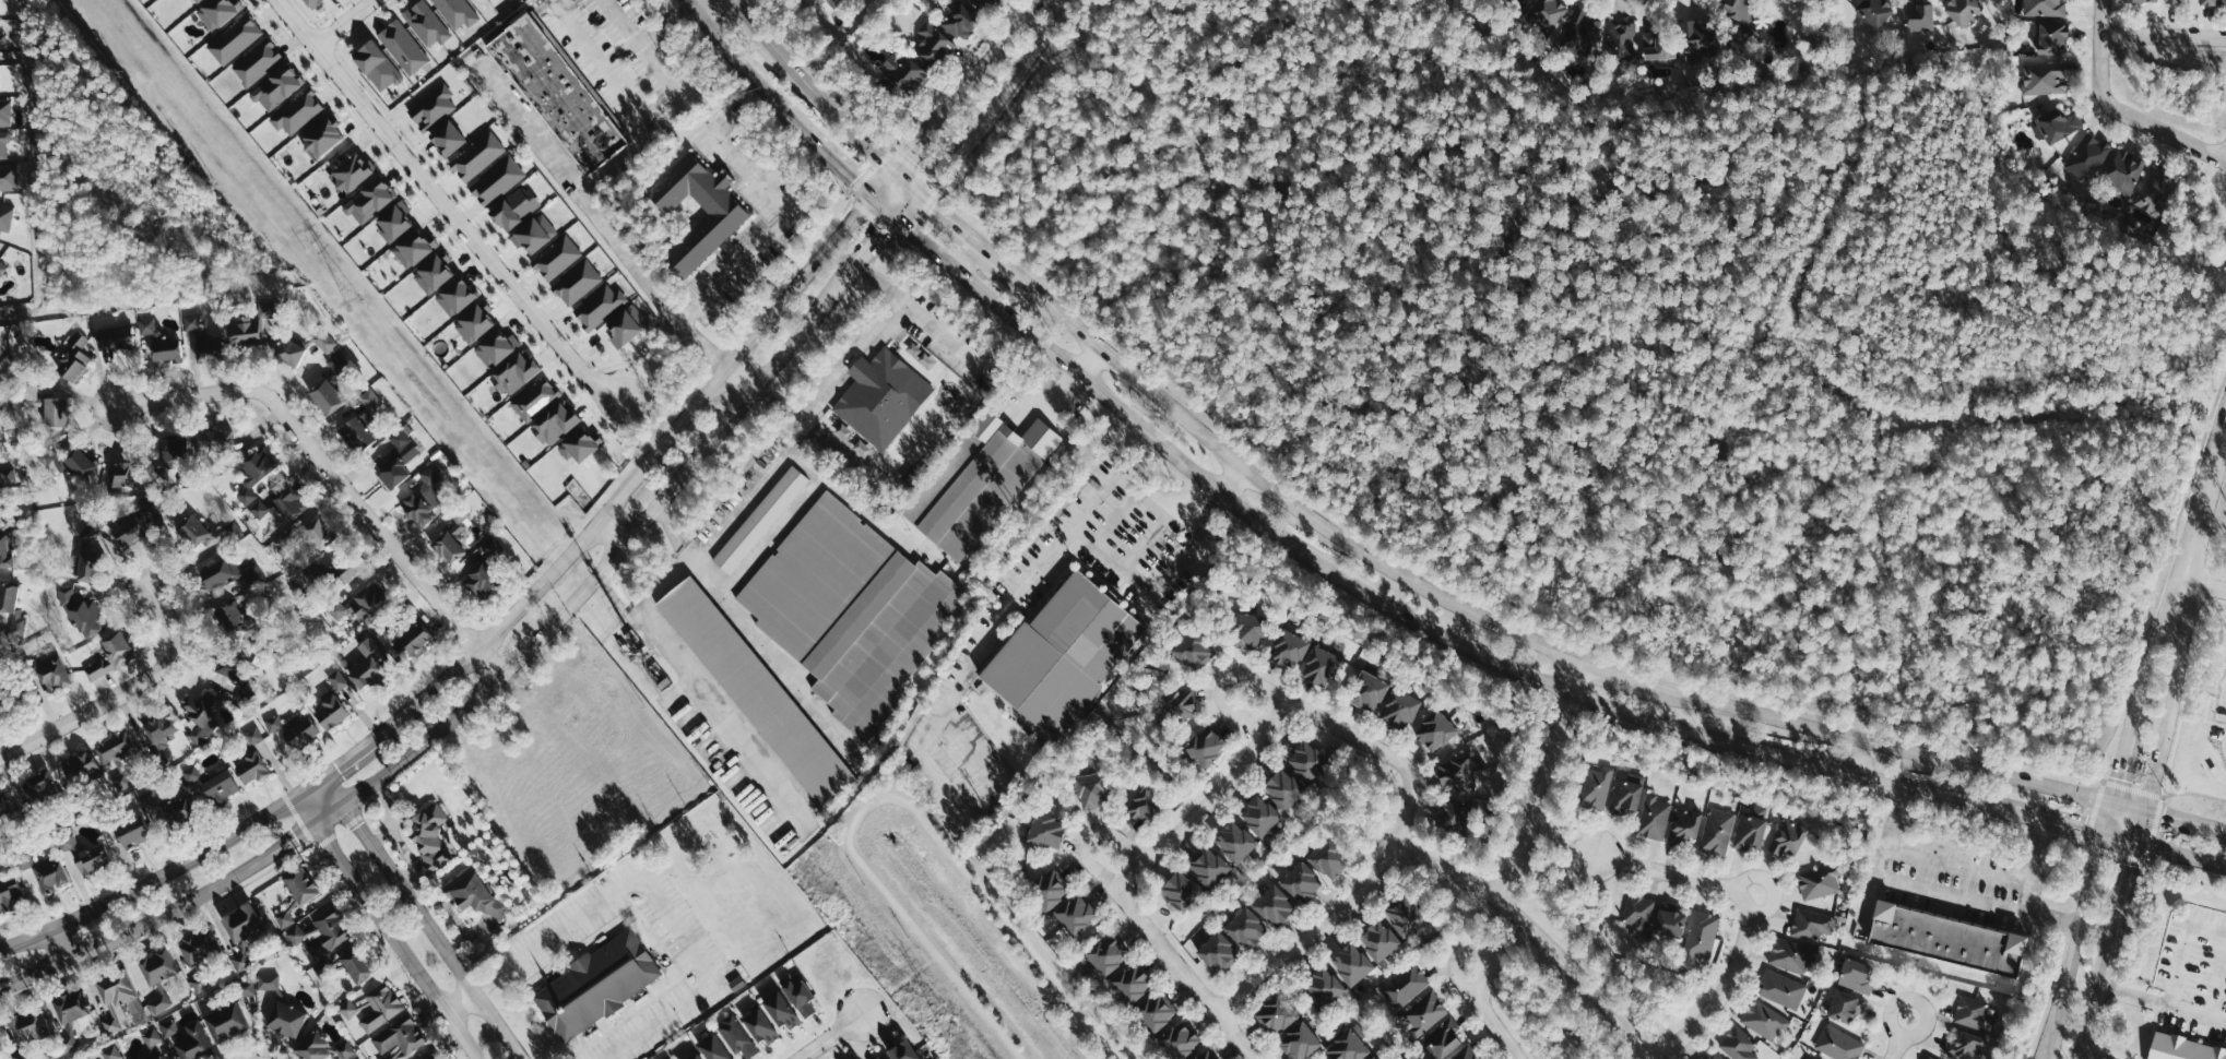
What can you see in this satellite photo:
building: (2142, 0)
building: (190, 1)
building: (2172, 1)
building: (310, 2)
road: (694, 2)
building: (832, 2)
building: (1518, 2)
building: (2207, 2)
building: (981, 4)
building: (2046, 8)
building: (0, 9)
building: (1739, 9)
building: (1963, 10)
building: (1875, 11)
building: (216, 12)
building: (457, 12)
building: (1549, 12)
building: (1918, 15)
building: (427, 22)
road: (624, 23)
road: (343, 24)
road: (666, 25)
building: (1582, 29)
road: (714, 33)
building: (3, 35)
building: (1701, 36)
road: (2164, 36)
building: (2051, 38)
building: (234, 39)
building: (1623, 39)
road: (1005, 41)
building: (932, 43)
building: (402, 46)
building: (1658, 48)
building: (257, 61)
parking lot: (621, 62)
building: (375, 66)
building: (902, 73)
building: (2045, 78)
building: (1, 81)
building: (276, 86)
road: (808, 87)
building: (559, 92)
road: (992, 98)
building: (433, 107)
road: (637, 108)
road: (2117, 110)
building: (297, 111)
building: (9, 112)
building: (2056, 124)
building: (321, 136)
building: (446, 138)
road: (919, 140)
road: (814, 143)
traffic signals: (912, 148)
building: (476, 156)
building: (2088, 157)
road: (2225, 157)
road: (619, 159)
road: (2225, 159)
building: (351, 171)
building: (2126, 171)
building: (11, 177)
traffic signals: (853, 177)
building: (497, 180)
building: (2156, 192)
building: (369, 199)
road: (443, 204)
road: (781, 205)
traffic signals: (931, 206)
building: (513, 207)
building: (729, 211)
building: (9, 216)
road: (595, 217)
building: (393, 219)
traffic signals: (878, 231)
building: (533, 234)
road: (972, 242)
road: (866, 245)
building: (413, 248)
parking lot: (749, 251)
building: (556, 258)
building: (4, 269)
building: (433, 271)
building: (577, 283)
building: (454, 296)
power tower: (353, 301)
building: (599, 306)
building: (473, 321)
building: (252, 323)
building: (625, 325)
road: (939, 331)
parking lot: (943, 335)
building: (116, 336)
building: (200, 340)
building: (325, 341)
building: (159, 343)
building: (495, 347)
building: (289, 352)
building: (72, 358)
road: (1090, 361)
building: (335, 362)
building: (514, 372)
road: (739, 374)
road: (831, 380)
building: (327, 395)
building: (880, 396)
road: (1052, 396)
building: (44, 401)
building: (369, 403)
building: (545, 410)
building: (56, 412)
building: (1, 425)
building: (356, 431)
building: (216, 440)
building: (580, 443)
building: (173, 450)
building: (398, 457)
building: (75, 461)
road: (641, 464)
building: (128, 468)
building: (254, 472)
building: (5, 476)
road: (2209, 476)
road: (333, 480)
road: (1231, 480)
building: (976, 481)
building: (424, 498)
building: (144, 502)
building: (281, 503)
road: (1303, 511)
building: (760, 519)
road: (1116, 519)
building: (130, 531)
building: (197, 531)
building: (230, 531)
road: (609, 531)
building: (304, 542)
building: (448, 545)
road: (1142, 545)
building: (5, 549)
building: (88, 555)
building: (332, 571)
building: (217, 574)
building: (252, 574)
building: (814, 574)
building: (343, 575)
building: (479, 579)
road: (1159, 582)
road: (2206, 584)
building: (358, 603)
road: (1381, 603)
building: (15, 608)
building: (85, 617)
road: (2163, 618)
building: (232, 619)
building: (1246, 630)
building: (411, 636)
building: (880, 642)
parking lot: (976, 650)
building: (1288, 650)
building: (1194, 651)
building: (111, 654)
building: (1064, 654)
road: (975, 655)
power tower: (643, 656)
building: (233, 666)
building: (367, 667)
building: (1319, 667)
building: (49, 671)
road: (1624, 675)
road: (2171, 676)
building: (338, 680)
road: (122, 690)
building: (754, 690)
building: (1367, 691)
building: (12, 694)
building: (1180, 705)
road: (1288, 706)
road: (463, 707)
building: (1399, 709)
building: (332, 711)
building: (200, 715)
building: (0, 719)
building: (273, 723)
building: (159, 725)
building: (1434, 730)
building: (300, 733)
building: (253, 736)
road: (1885, 745)
building: (115, 747)
building: (1204, 747)
road: (345, 760)
building: (1305, 761)
road: (2115, 764)
building: (82, 768)
building: (252, 768)
building: (191, 773)
building: (1455, 773)
traffic signals: (2112, 776)
road: (1538, 777)
building: (122, 782)
building: (221, 786)
building: (1597, 787)
building: (39, 788)
building: (1282, 788)
building: (1089, 790)
road: (1206, 802)
building: (4, 804)
building: (1142, 805)
building: (181, 811)
building: (1452, 813)
building: (1258, 816)
building: (1656, 817)
traffic signals: (2164, 817)
road: (2165, 817)
road: (2052, 821)
building: (1686, 823)
building: (1751, 828)
traffic signals: (2081, 829)
building: (133, 831)
building: (1045, 831)
building: (1718, 832)
building: (1, 835)
building: (429, 836)
building: (1788, 837)
building: (1233, 842)
building: (85, 854)
road: (1882, 854)
road: (2179, 854)
building: (1327, 859)
traffic signals: (2128, 864)
building: (1207, 867)
road: (1672, 870)
road: (1988, 870)
building: (49, 873)
road: (151, 882)
building: (1819, 882)
building: (1300, 883)
building: (301, 884)
road: (2121, 887)
building: (1049, 889)
building: (1180, 891)
building: (9, 894)
road: (1964, 895)
road: (2085, 895)
road: (655, 899)
building: (1272, 906)
building: (1639, 914)
building: (1074, 915)
road: (1334, 916)
building: (1405, 916)
road: (2052, 916)
building: (283, 917)
road: (419, 918)
road: (1142, 921)
building: (242, 923)
building: (1812, 925)
road: (388, 926)
building: (1244, 928)
building: (319, 929)
parking lot: (561, 930)
road: (1538, 931)
building: (1944, 939)
building: (1700, 940)
building: (1377, 941)
road: (57, 944)
building: (198, 945)
road: (2182, 948)
building: (1218, 953)
building: (1105, 954)
building: (1791, 955)
building: (238, 962)
building: (1350, 964)
building: (157, 966)
building: (355, 968)
building: (324, 969)
building: (1857, 976)
building: (267, 981)
building: (1130, 984)
building: (596, 985)
building: (1407, 985)
building: (1322, 987)
road: (1721, 987)
building: (245, 988)
building: (1783, 989)
building: (118, 990)
road: (2064, 992)
building: (800, 997)
road: (458, 1000)
road: (2162, 1002)
building: (159, 1003)
building: (71, 1007)
building: (1845, 1007)
road: (2091, 1007)
building: (381, 1008)
building: (348, 1009)
building: (779, 1010)
building: (1155, 1012)
building: (1425, 1013)
road: (1487, 1013)
building: (1974, 1014)
building: (1274, 1015)
building: (286, 1019)
building: (1765, 1020)
building: (227, 1022)
power tower: (945, 1024)
building: (28, 1026)
building: (169, 1027)
building: (759, 1027)
road: (1895, 1034)
building: (735, 1036)
building: (152, 1037)
road: (828, 1038)
building: (1444, 1038)
building: (400, 1040)
building: (1179, 1040)
building: (1299, 1042)
building: (67, 1043)
building: (196, 1043)
road: (2057, 1043)
building: (1838, 1044)
building: (1739, 1045)
building: (1965, 1046)
building: (0, 1047)
building: (1347, 1047)
building: (319, 1048)
building: (711, 1048)
building: (2181, 1048)
building: (898, 1051)
building: (111, 1052)
building: (1467, 1054)
building: (1205, 1055)
road: (2077, 1055)
road: (2089, 1055)
building: (1713, 1056)
building: (425, 1057)
building: (695, 1057)
building: (157, 1058)
building: (357, 1058)
building: (857, 1058)
building: (1373, 1058)
building: (1819, 1058)
building: (1928, 1058)

